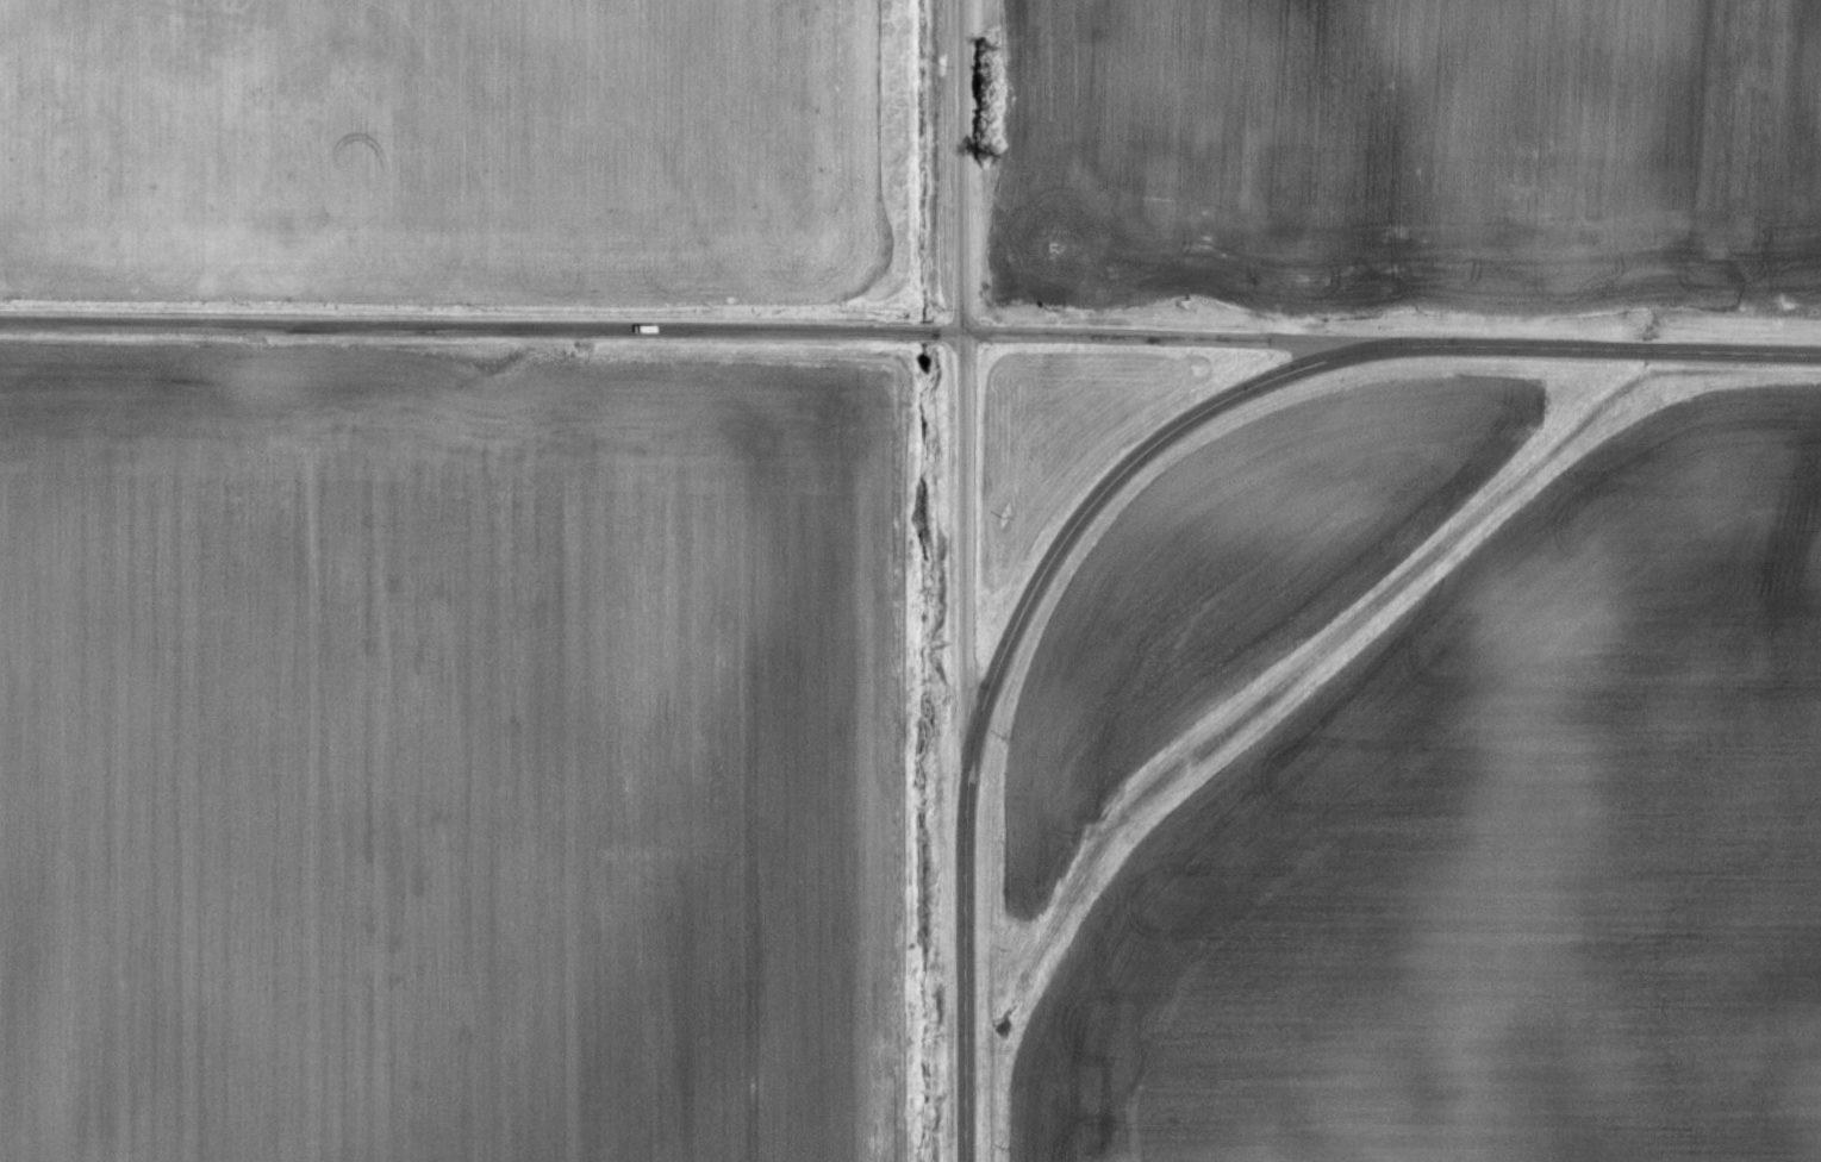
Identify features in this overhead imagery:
road: (962, 168)
road: (675, 332)
road: (1303, 369)
road: (963, 537)
road: (963, 949)

